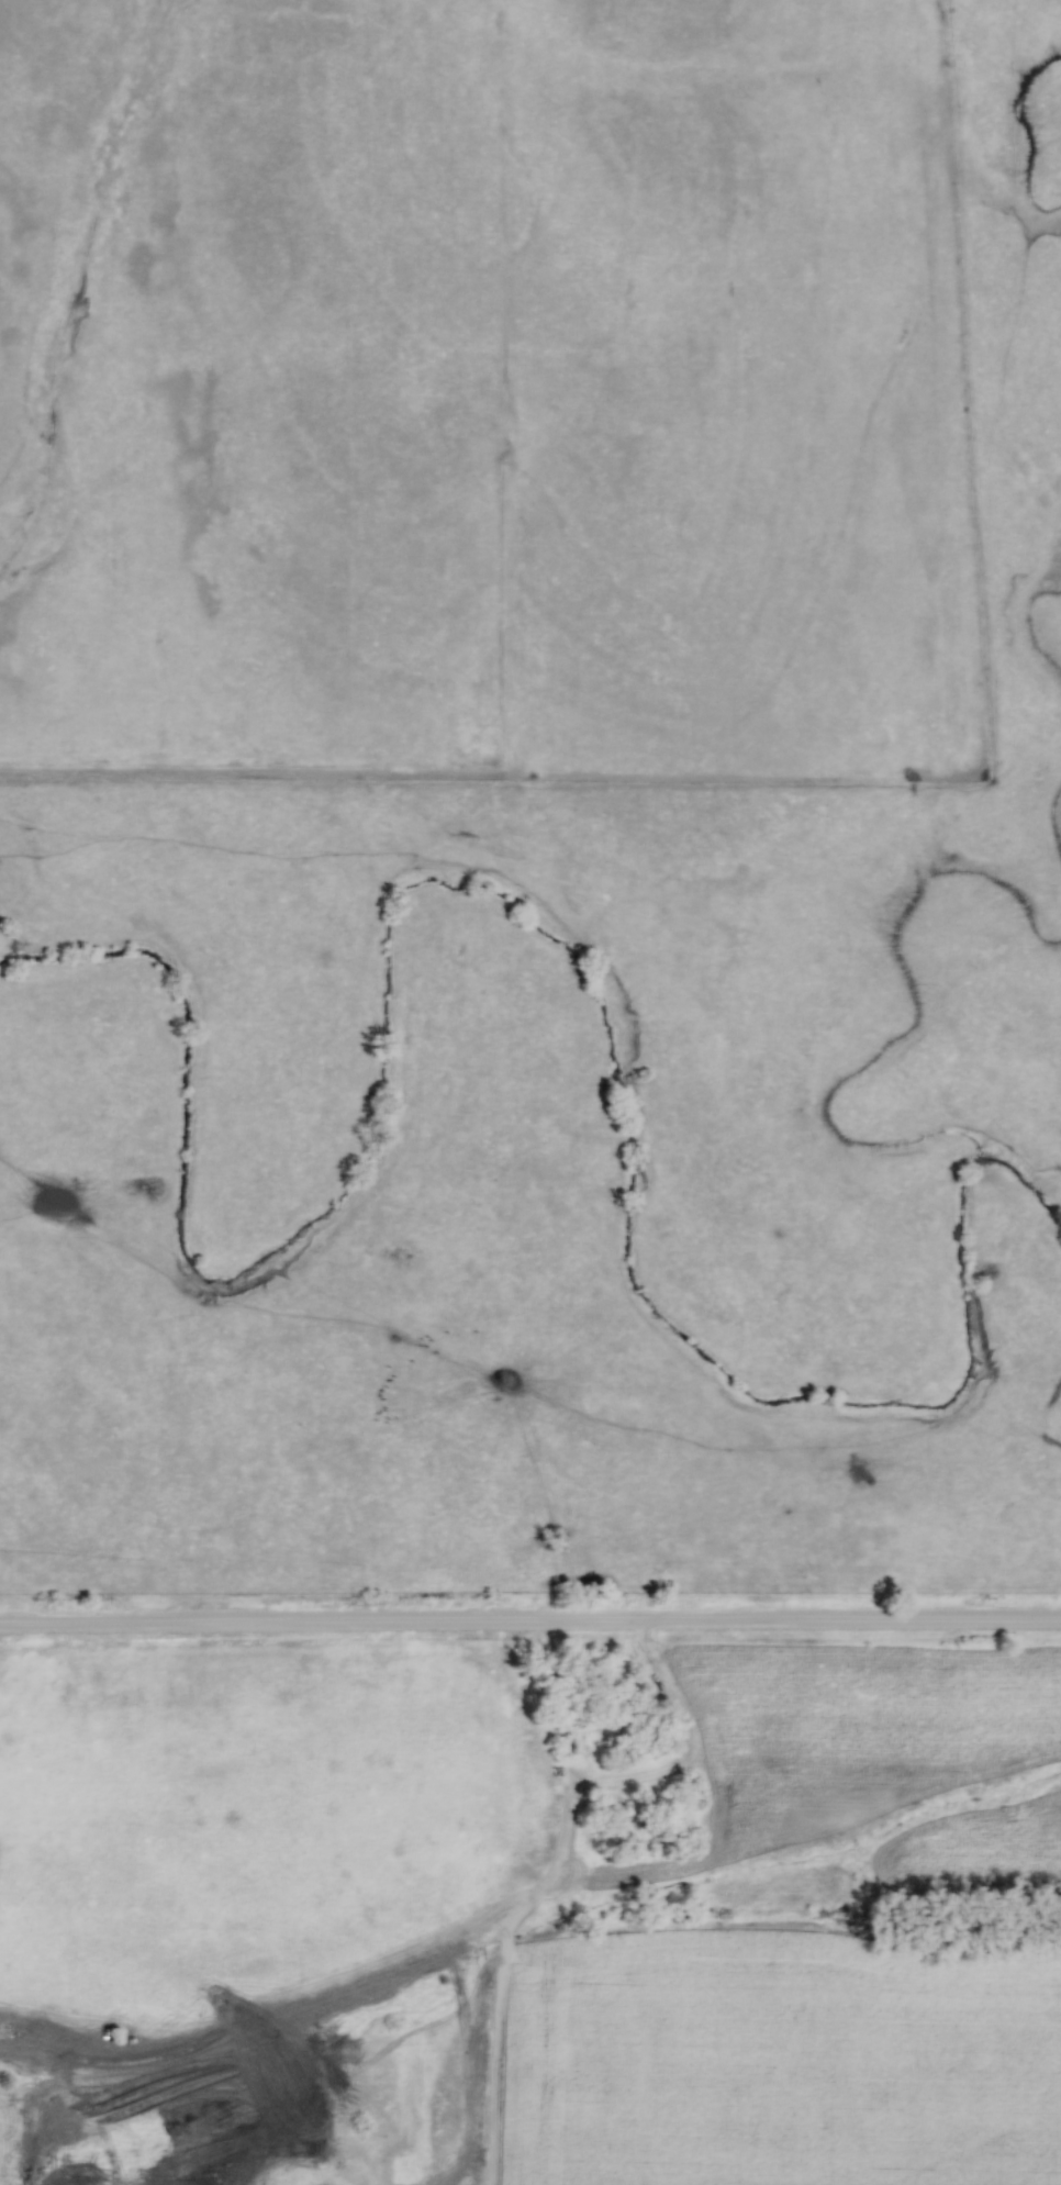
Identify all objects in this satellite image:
road: (530, 1621)

